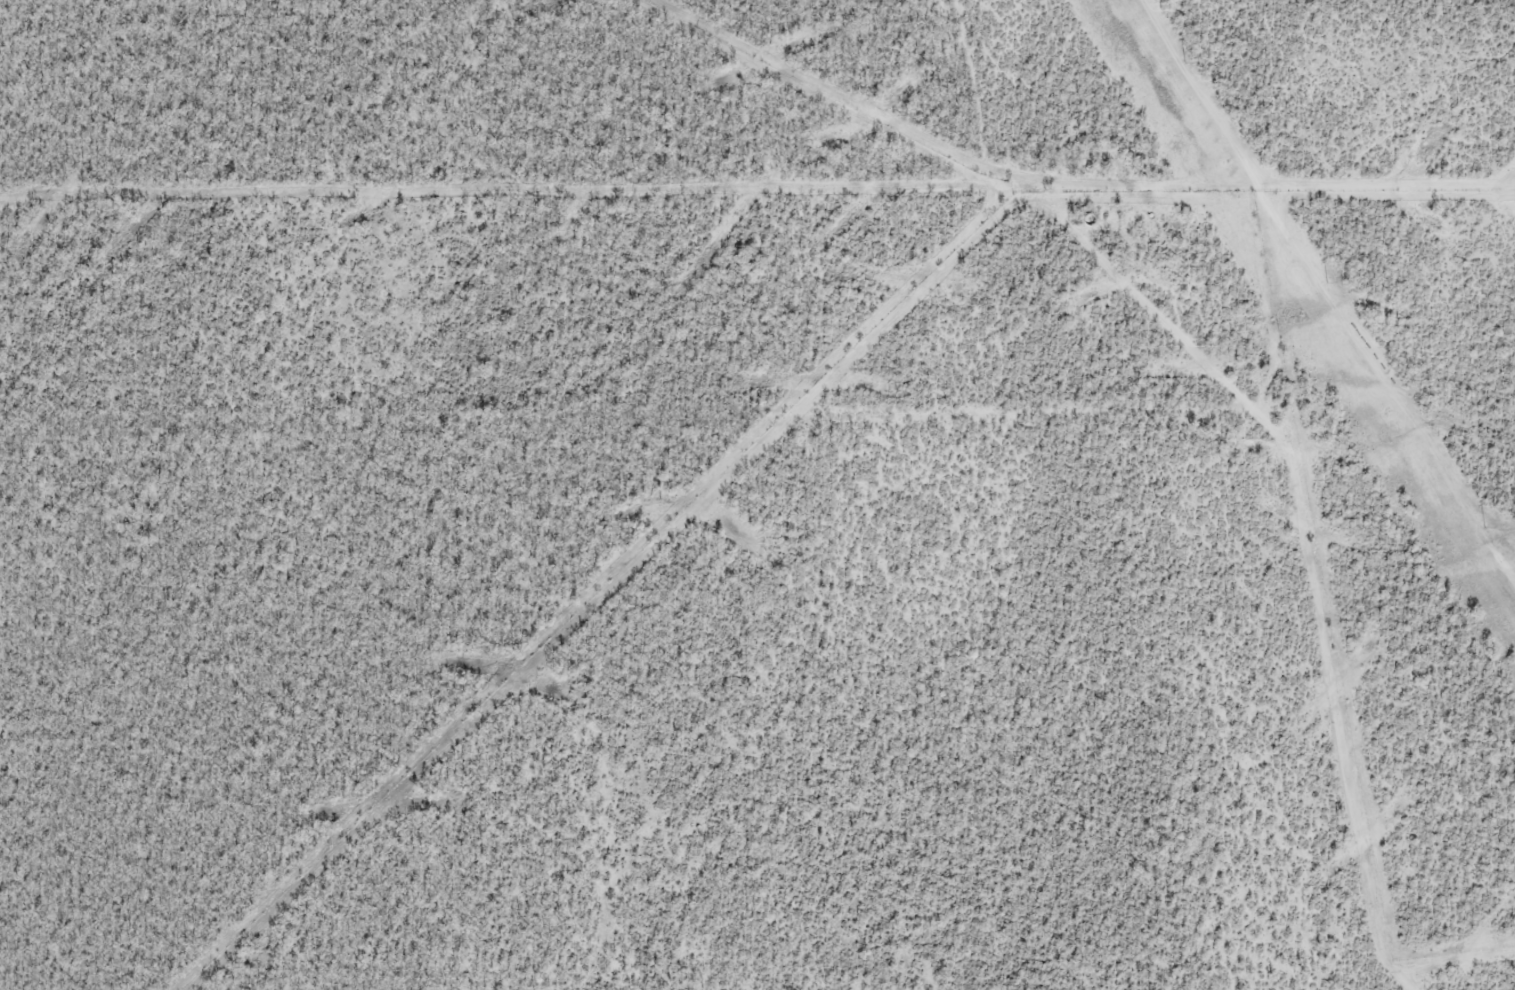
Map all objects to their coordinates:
power tower: (1184, 61)
power tower: (1326, 281)
power tower: (1484, 526)

